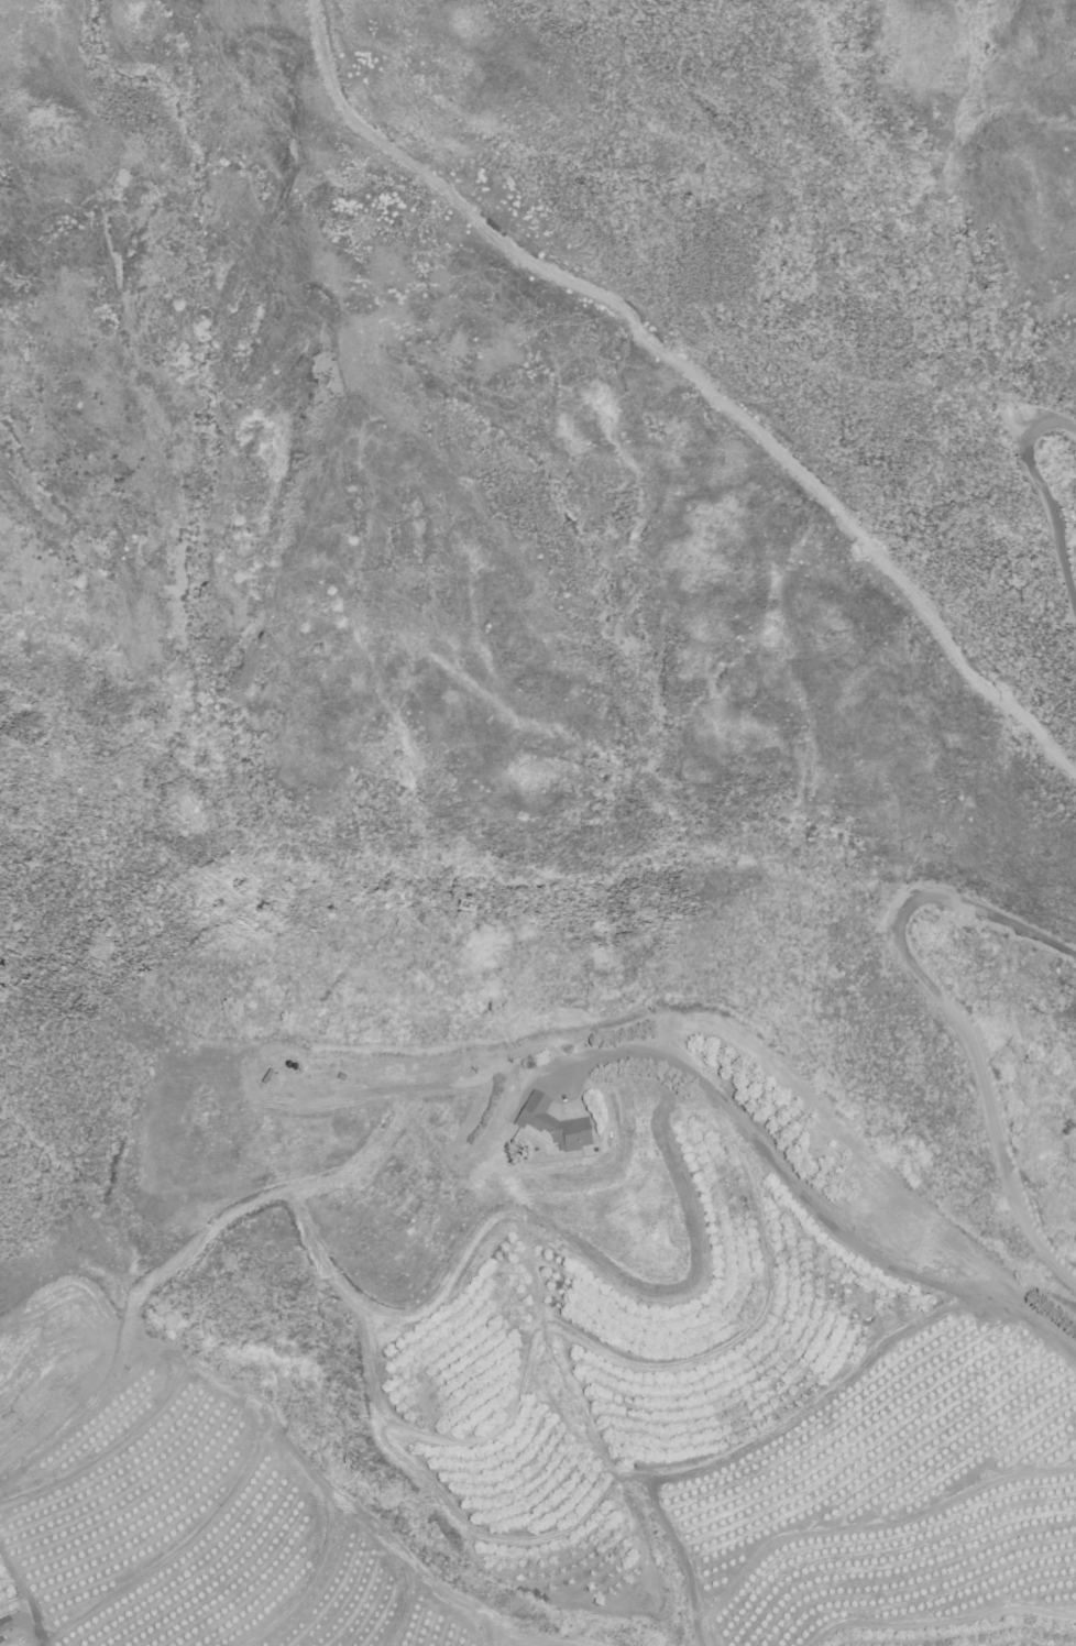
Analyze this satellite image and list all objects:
road: (1042, 502)
road: (956, 1010)
building: (551, 1126)
road: (804, 1200)
road: (654, 1368)
road: (284, 1444)
road: (872, 1525)
road: (556, 1534)
road: (175, 1554)
road: (682, 1559)
road: (306, 1582)
road: (405, 1604)
road: (940, 1622)
building: (4, 1624)

